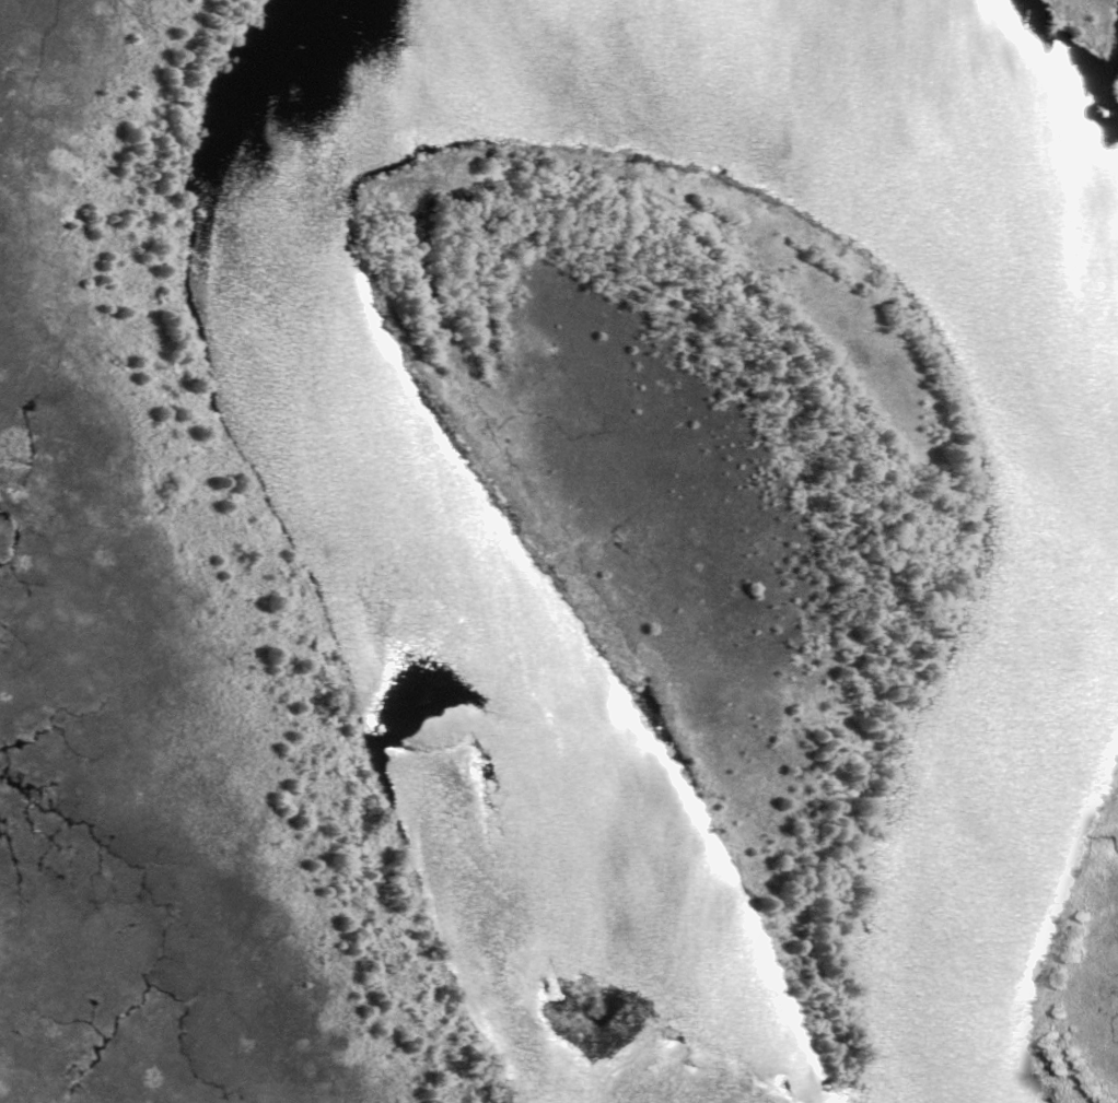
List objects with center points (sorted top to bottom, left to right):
river: (1075, 500)
river: (351, 505)

